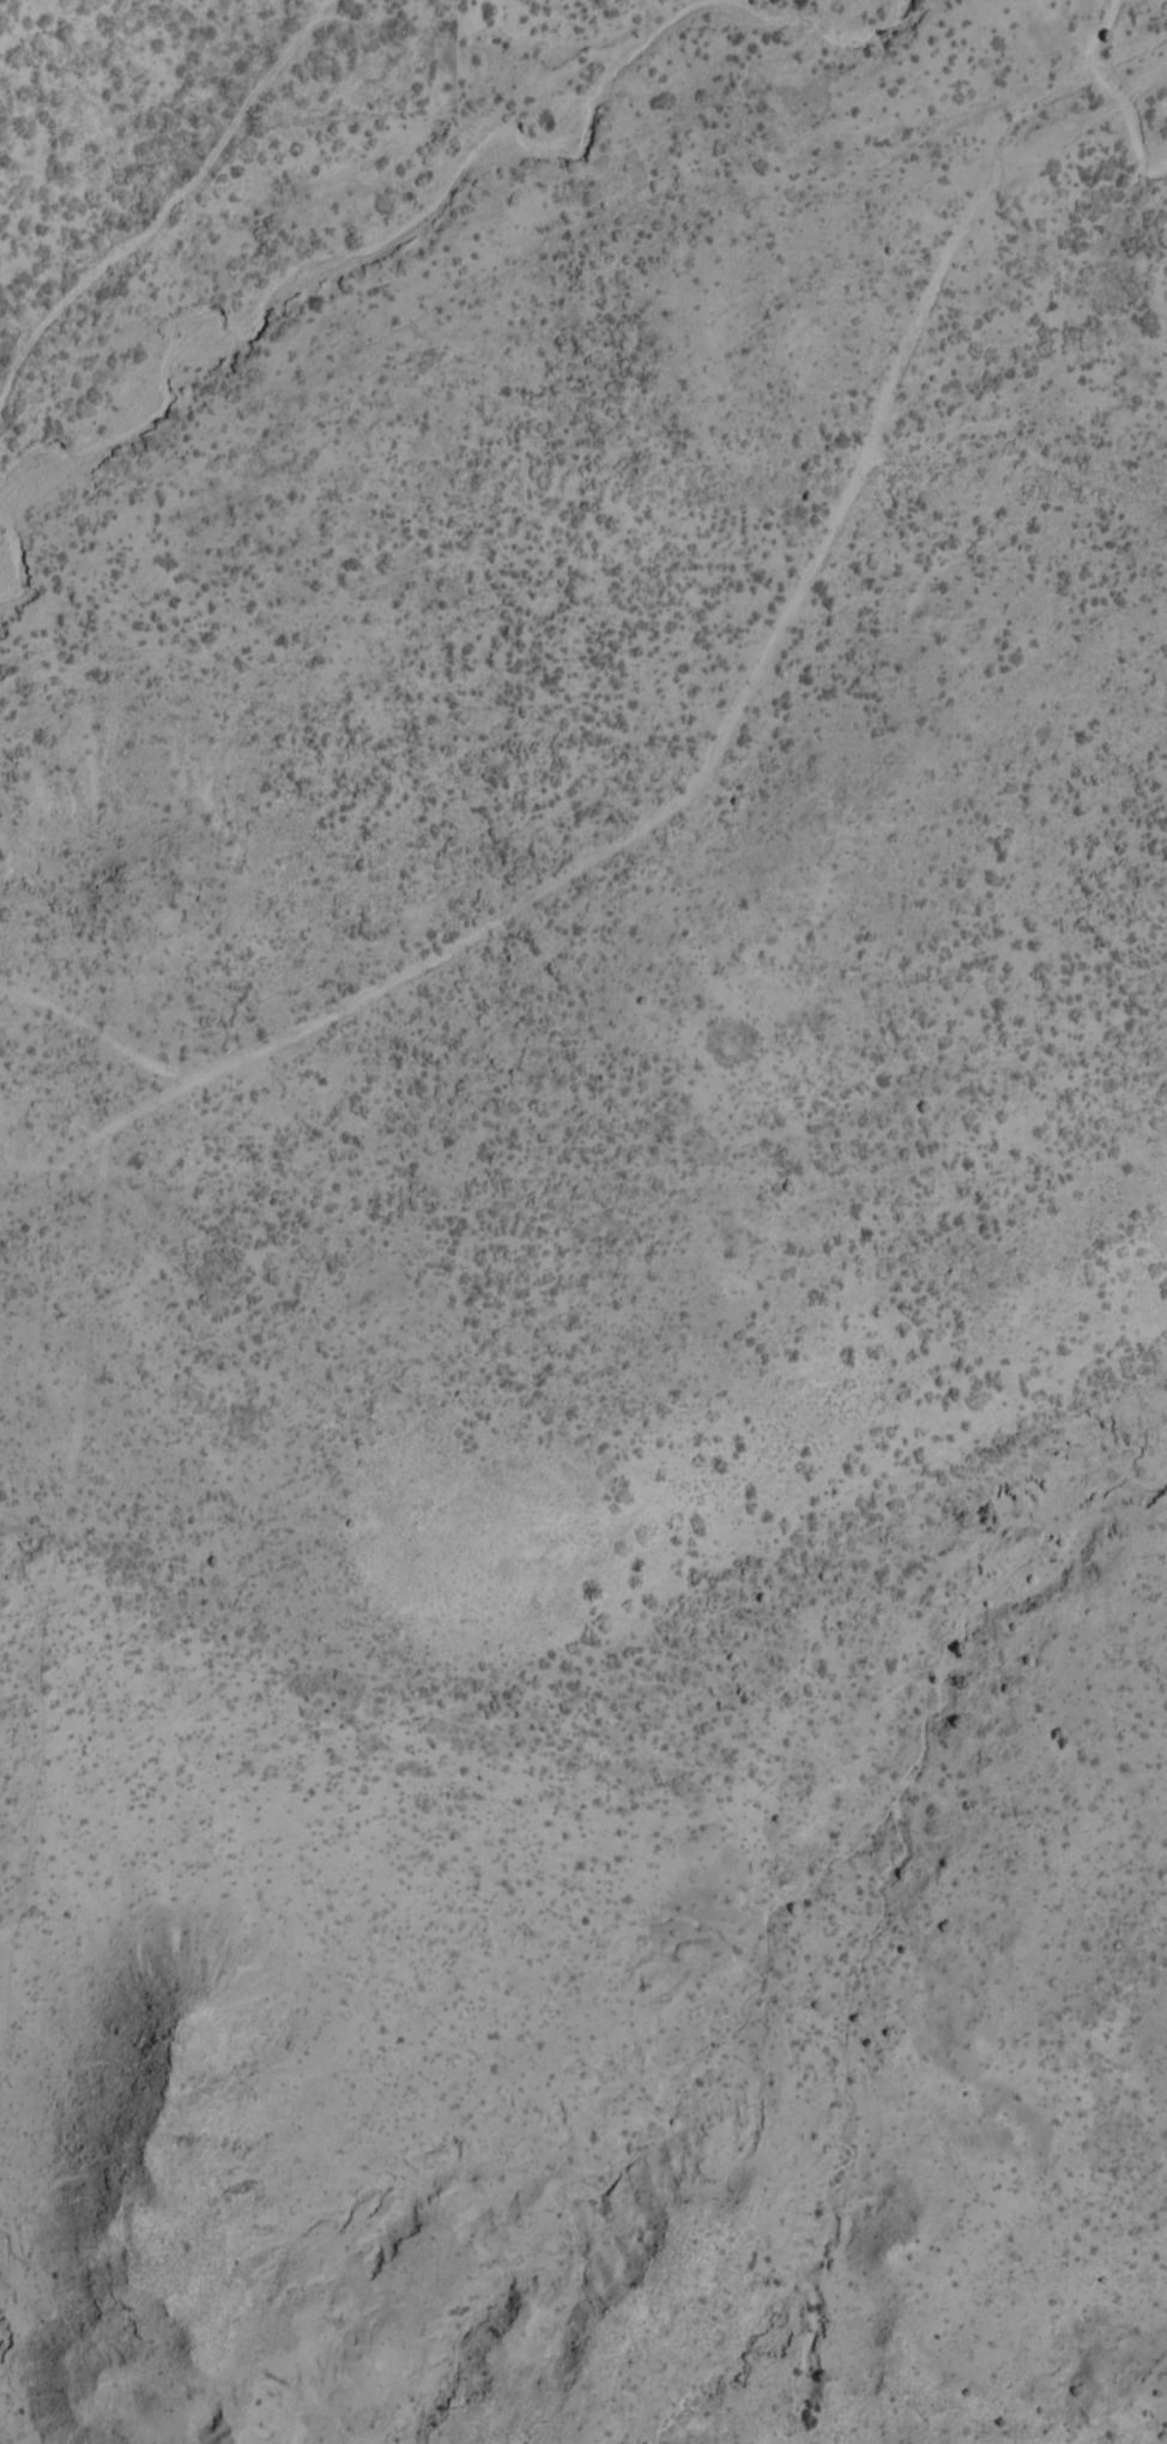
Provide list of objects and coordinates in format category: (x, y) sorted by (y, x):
road: (175, 183)

